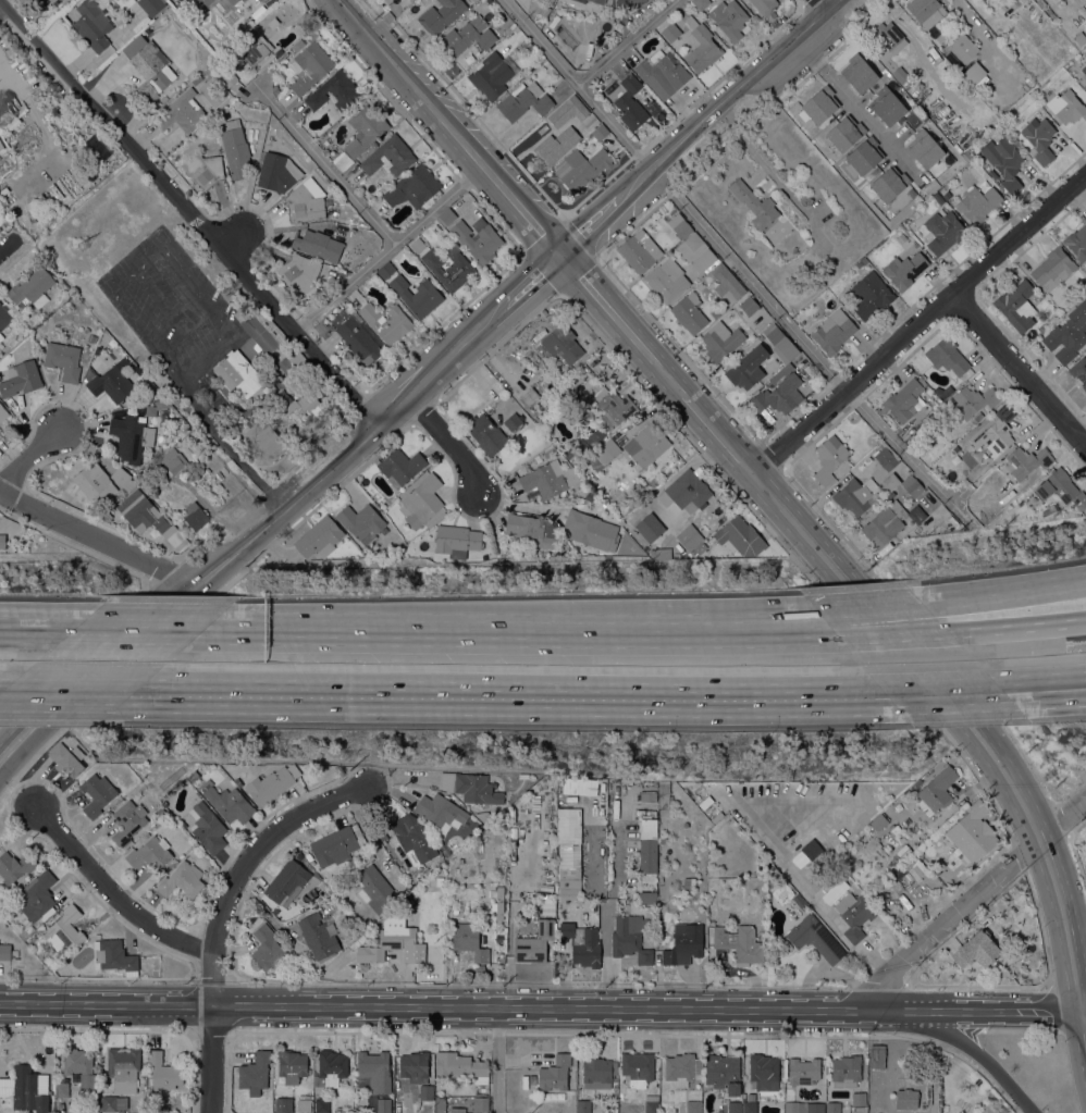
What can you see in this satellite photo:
building: (243, 0)
building: (259, 0)
building: (264, 0)
building: (48, 1)
building: (52, 1)
building: (550, 1)
building: (581, 1)
building: (600, 1)
building: (231, 2)
building: (626, 2)
building: (700, 3)
building: (200, 4)
road: (819, 4)
building: (150, 5)
building: (764, 5)
building: (544, 11)
building: (926, 11)
building: (441, 15)
building: (729, 18)
building: (272, 22)
building: (92, 23)
building: (509, 27)
building: (297, 28)
building: (670, 32)
building: (550, 34)
building: (468, 35)
building: (1079, 37)
building: (940, 38)
building: (888, 40)
road: (624, 41)
building: (527, 46)
building: (701, 46)
road: (811, 48)
building: (963, 48)
building: (254, 51)
building: (1081, 62)
building: (308, 63)
building: (148, 66)
building: (663, 70)
building: (973, 72)
building: (859, 73)
building: (493, 74)
building: (900, 74)
building: (226, 76)
building: (196, 79)
road: (577, 84)
building: (1084, 86)
building: (335, 90)
road: (728, 96)
building: (523, 100)
building: (628, 101)
building: (820, 103)
building: (887, 106)
building: (1066, 106)
building: (182, 112)
road: (867, 116)
road: (453, 127)
building: (365, 129)
building: (600, 132)
building: (846, 133)
building: (1039, 138)
building: (554, 140)
road: (749, 147)
building: (235, 148)
building: (924, 148)
building: (864, 154)
building: (388, 156)
building: (970, 158)
road: (324, 160)
building: (1003, 161)
building: (581, 168)
building: (203, 169)
building: (274, 173)
building: (890, 183)
building: (415, 187)
building: (947, 196)
building: (938, 197)
building: (894, 200)
building: (977, 202)
building: (304, 205)
building: (755, 205)
road: (192, 213)
building: (446, 217)
road: (594, 225)
building: (680, 225)
building: (943, 231)
building: (478, 238)
building: (1077, 242)
building: (317, 244)
power tower: (84, 245)
road: (388, 245)
building: (417, 245)
road: (8, 246)
building: (639, 250)
building: (696, 251)
building: (862, 261)
building: (448, 267)
building: (1052, 268)
building: (904, 269)
building: (386, 270)
road: (183, 272)
building: (299, 273)
building: (666, 280)
building: (727, 284)
building: (32, 288)
road: (528, 290)
building: (871, 294)
building: (416, 295)
building: (749, 305)
building: (1016, 306)
road: (168, 310)
building: (689, 311)
building: (240, 314)
building: (3, 317)
road: (132, 321)
building: (386, 321)
road: (920, 325)
building: (321, 326)
building: (1041, 329)
building: (832, 332)
building: (1068, 333)
building: (751, 335)
building: (1, 336)
building: (356, 336)
building: (92, 337)
building: (271, 338)
building: (720, 341)
building: (780, 343)
building: (560, 344)
road: (812, 347)
road: (202, 349)
building: (947, 356)
building: (63, 359)
building: (108, 363)
building: (748, 368)
road: (1019, 369)
building: (1078, 370)
building: (781, 373)
building: (239, 374)
building: (21, 379)
building: (113, 381)
building: (779, 395)
building: (529, 396)
building: (905, 398)
building: (973, 400)
building: (298, 403)
building: (616, 405)
building: (3, 412)
building: (978, 416)
building: (513, 421)
building: (590, 429)
building: (996, 431)
building: (0, 434)
building: (485, 434)
building: (134, 435)
building: (264, 438)
road: (1085, 441)
road: (225, 444)
road: (451, 444)
building: (646, 444)
building: (548, 449)
building: (568, 453)
building: (604, 454)
road: (29, 457)
road: (344, 458)
building: (829, 458)
building: (886, 458)
building: (1026, 461)
building: (171, 462)
building: (400, 467)
building: (202, 473)
building: (122, 478)
building: (546, 478)
building: (654, 481)
building: (891, 481)
building: (95, 483)
building: (912, 485)
building: (1061, 489)
building: (686, 491)
building: (856, 495)
building: (591, 497)
building: (421, 500)
building: (141, 511)
building: (916, 514)
building: (195, 515)
building: (107, 517)
building: (361, 522)
building: (885, 523)
building: (650, 527)
building: (383, 530)
building: (530, 530)
building: (591, 530)
building: (689, 536)
building: (739, 536)
building: (319, 537)
road: (96, 539)
building: (456, 539)
building: (2, 541)
building: (701, 547)
building: (661, 553)
road: (1003, 592)
road: (872, 604)
road: (868, 606)
road: (195, 611)
road: (690, 620)
road: (1017, 624)
road: (39, 626)
road: (144, 627)
road: (386, 629)
road: (702, 635)
road: (894, 635)
road: (95, 671)
road: (1073, 687)
road: (1032, 691)
road: (1045, 693)
road: (66, 694)
road: (947, 695)
road: (510, 696)
building: (67, 757)
building: (523, 776)
building: (237, 782)
building: (653, 782)
building: (271, 784)
building: (579, 786)
building: (471, 787)
building: (937, 790)
building: (97, 793)
building: (663, 794)
building: (602, 797)
building: (229, 803)
building: (441, 812)
building: (483, 816)
building: (127, 821)
building: (878, 821)
building: (207, 827)
building: (894, 828)
building: (603, 830)
building: (973, 832)
building: (382, 834)
building: (414, 837)
building: (337, 844)
building: (647, 844)
building: (902, 852)
building: (150, 853)
building: (367, 853)
building: (309, 856)
building: (14, 866)
building: (916, 867)
building: (775, 874)
building: (182, 880)
building: (439, 881)
building: (286, 882)
building: (568, 882)
building: (689, 882)
building: (375, 889)
road: (112, 891)
building: (782, 892)
building: (38, 896)
building: (647, 898)
building: (496, 900)
road: (970, 900)
building: (799, 901)
road: (222, 914)
building: (854, 915)
building: (65, 929)
road: (604, 932)
building: (319, 936)
building: (630, 938)
building: (815, 938)
building: (469, 940)
building: (582, 942)
building: (386, 943)
building: (534, 943)
building: (740, 943)
building: (683, 944)
building: (267, 948)
building: (976, 950)
building: (4, 951)
building: (14, 953)
building: (114, 956)
road: (508, 959)
road: (444, 1004)
road: (985, 1004)
road: (1084, 1019)
road: (970, 1044)
building: (876, 1056)
road: (497, 1059)
building: (79, 1065)
building: (414, 1065)
building: (461, 1065)
building: (292, 1066)
building: (331, 1067)
building: (123, 1068)
building: (637, 1068)
building: (680, 1068)
building: (375, 1071)
building: (803, 1071)
building: (848, 1071)
building: (163, 1072)
building: (596, 1072)
building: (763, 1072)
building: (255, 1073)
building: (555, 1073)
building: (723, 1073)
building: (26, 1088)
building: (61, 1089)
building: (425, 1091)
building: (396, 1099)
building: (859, 1099)
building: (906, 1099)
building: (112, 1102)
building: (481, 1103)
building: (651, 1103)
building: (283, 1104)
building: (304, 1104)
building: (322, 1104)
building: (440, 1104)
building: (383, 1105)
power tower: (523, 1105)
building: (692, 1105)
building: (583, 1106)
building: (735, 1106)
building: (749, 1106)
building: (803, 1106)
building: (832, 1106)
building: (846, 1109)
building: (987, 1109)
building: (340, 1110)
building: (457, 1110)

